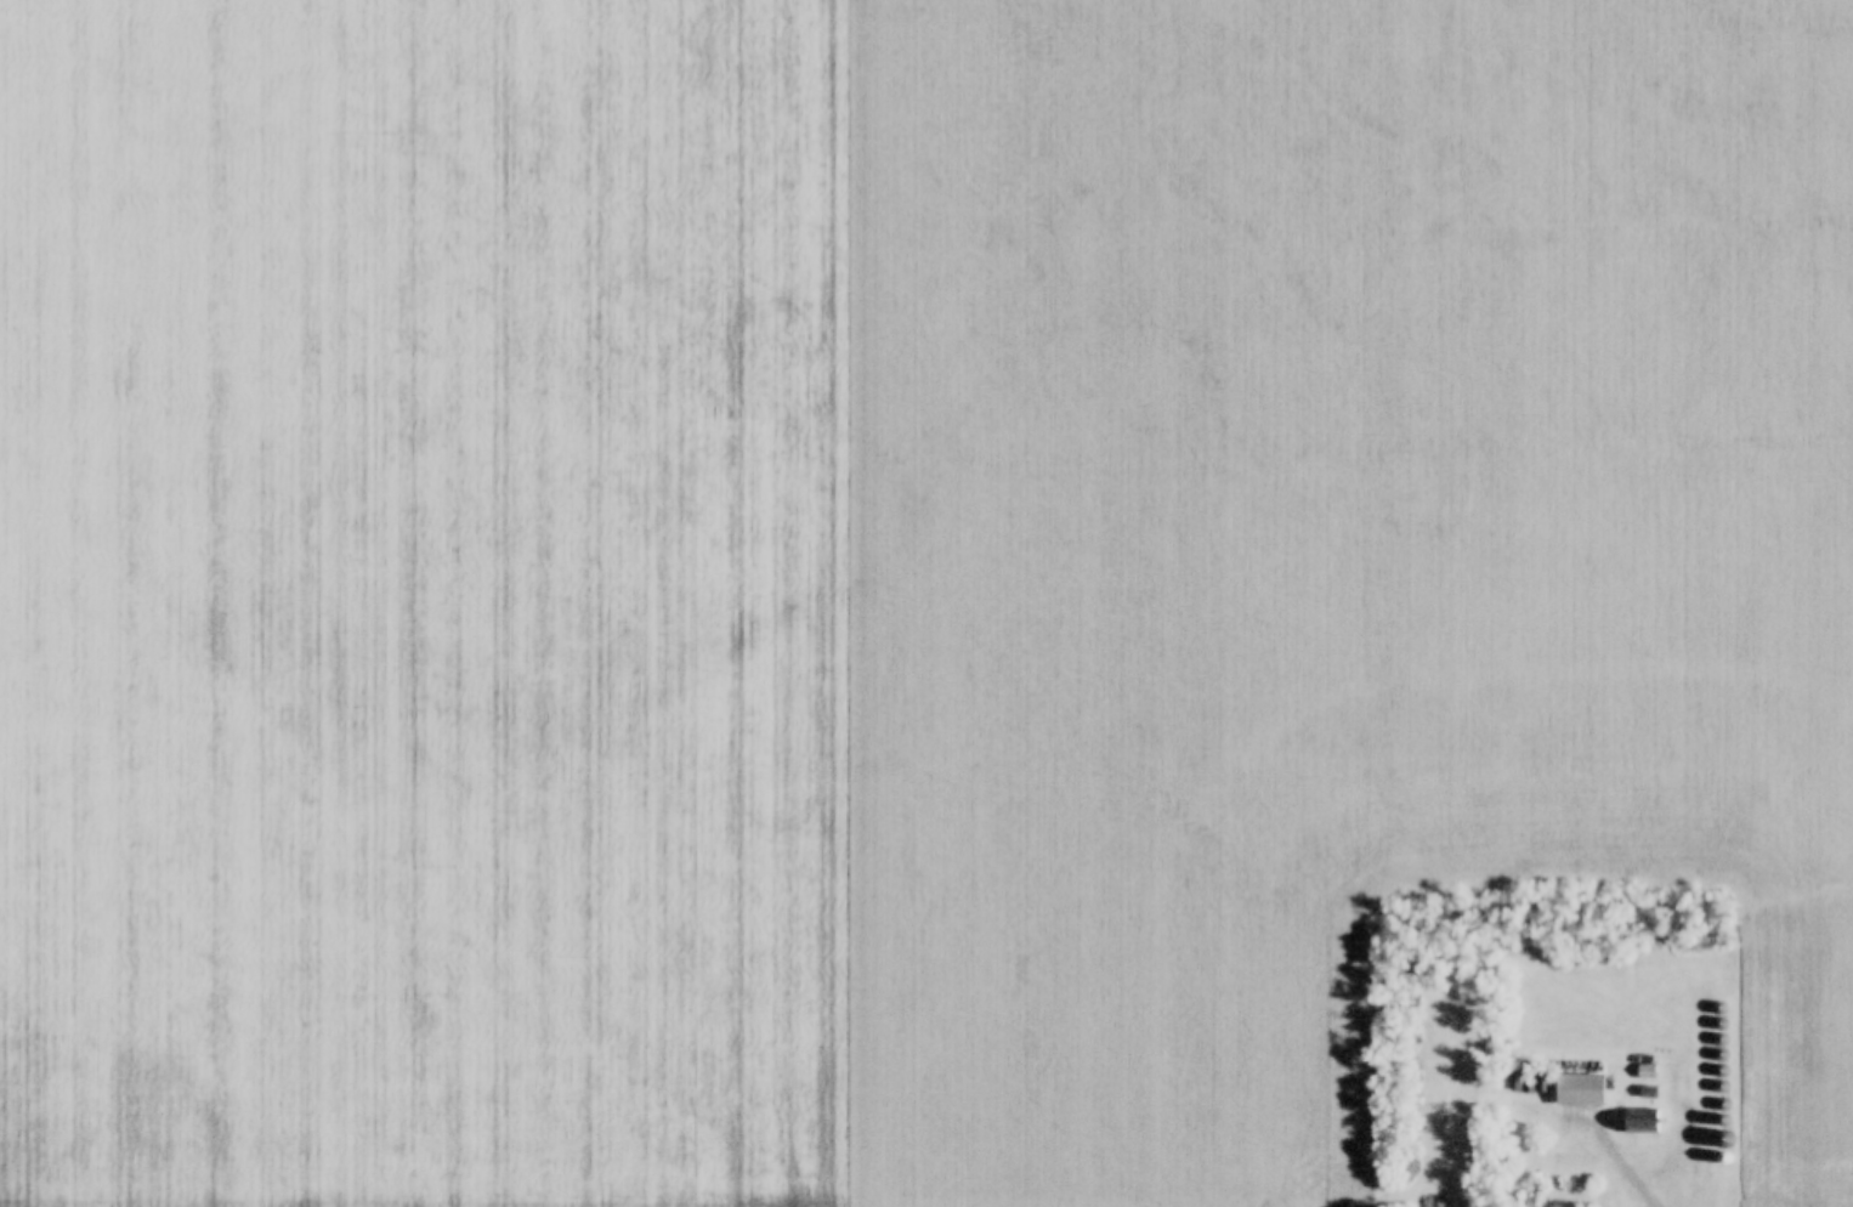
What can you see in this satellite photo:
building: (1581, 1086)
building: (1643, 1116)

